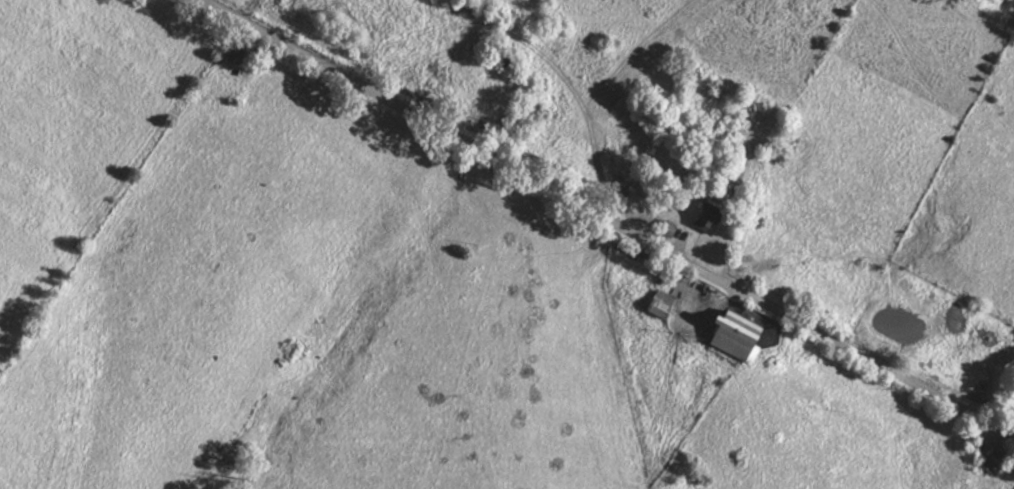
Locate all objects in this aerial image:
building: (537, 112)
building: (779, 155)
building: (711, 216)
road: (607, 219)
building: (662, 304)
building: (997, 451)

